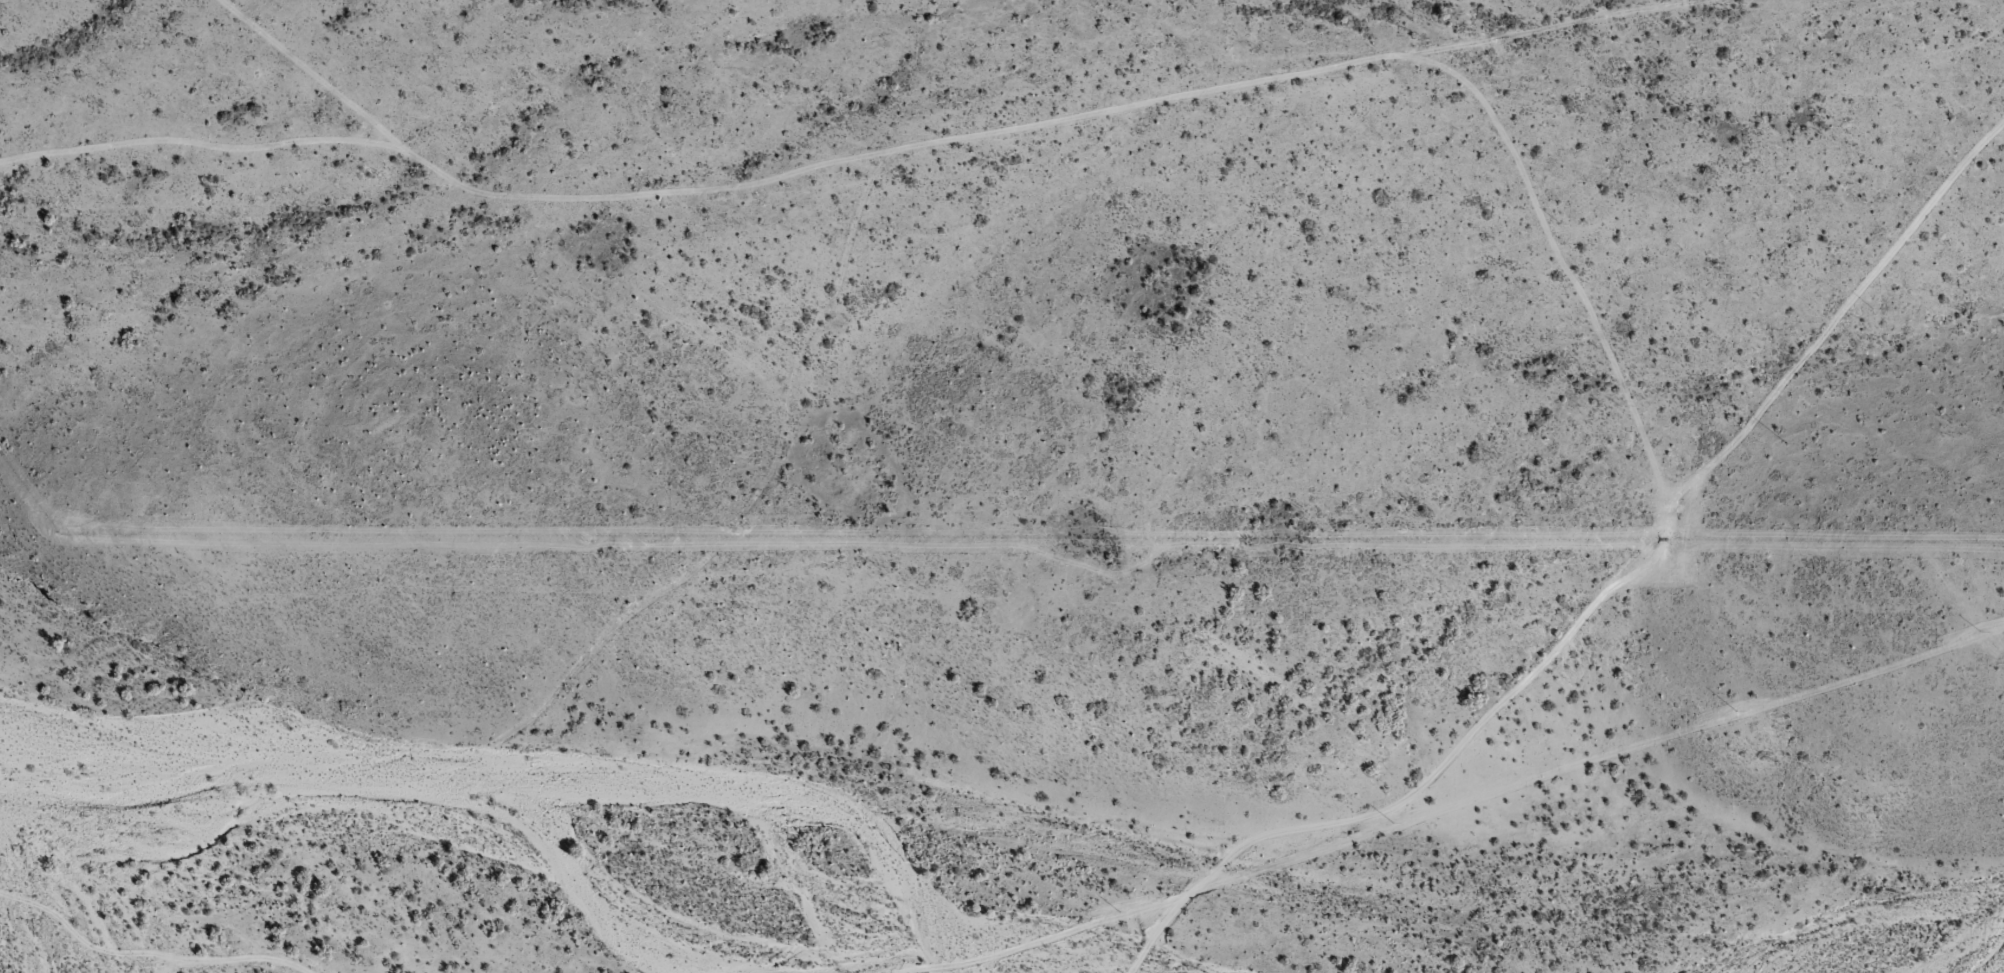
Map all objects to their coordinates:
road: (280, 51)
road: (419, 144)
road: (845, 260)

